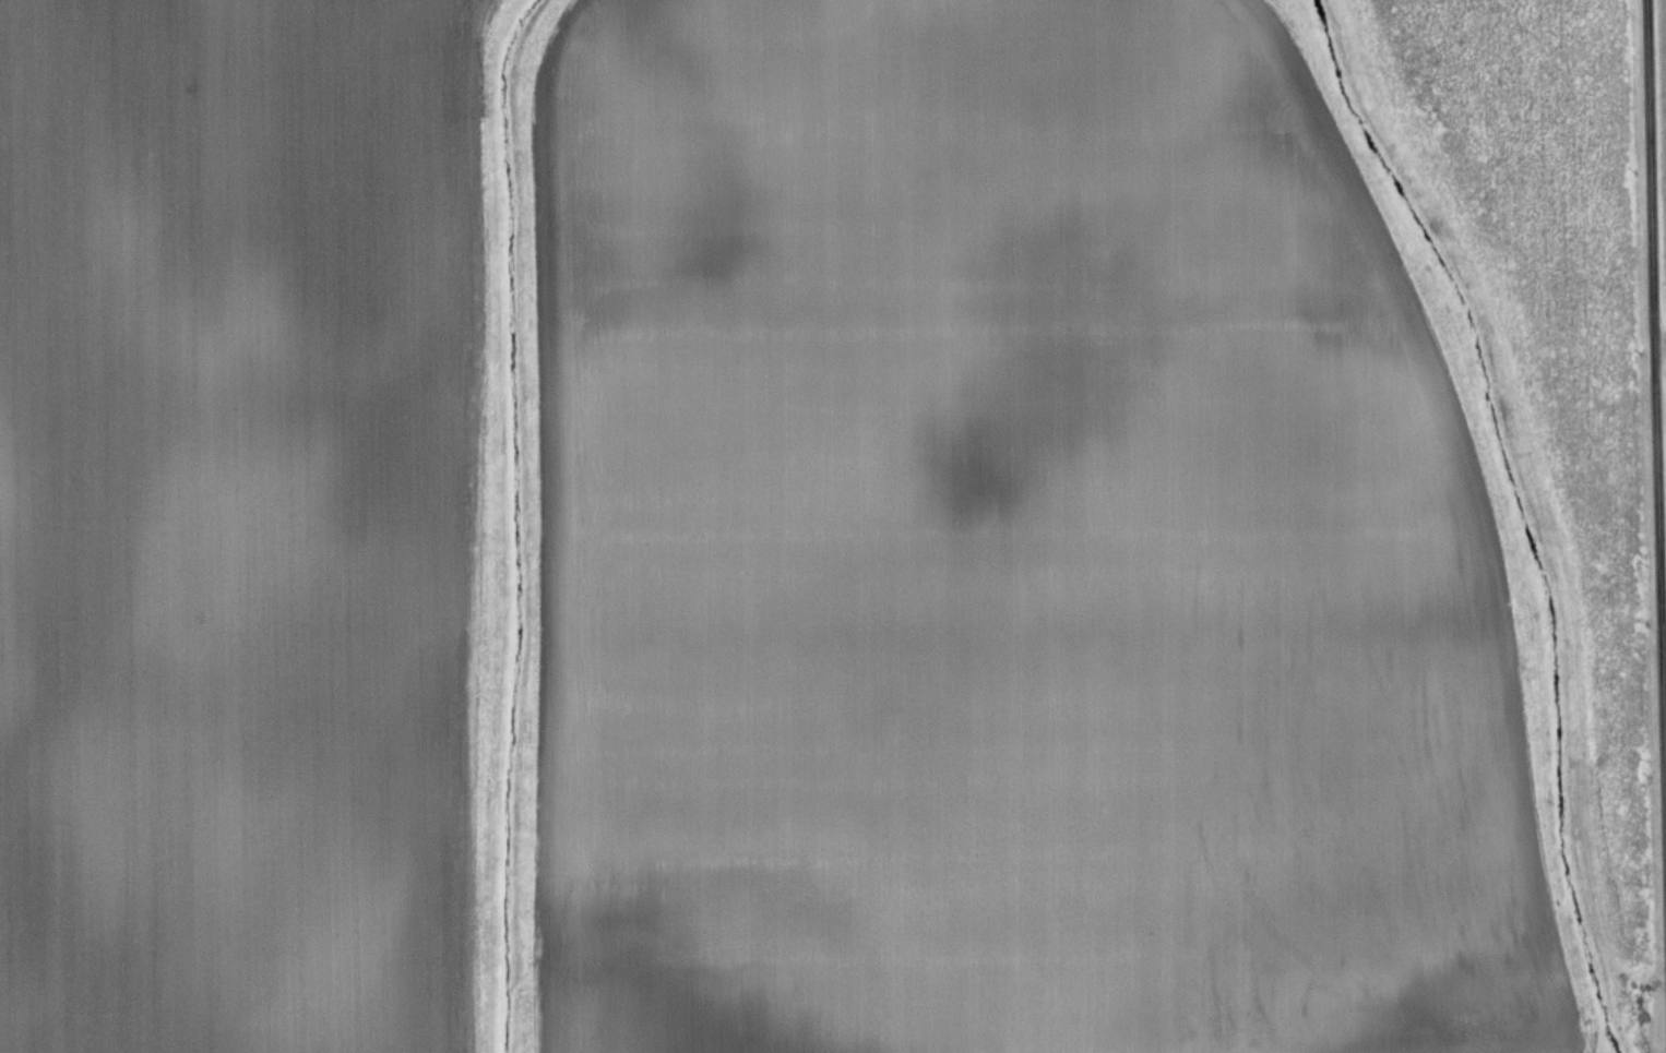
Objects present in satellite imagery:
crop: (1664, 36)
road: (1659, 342)
road: (1655, 430)
crop: (236, 524)
crop: (1005, 553)

